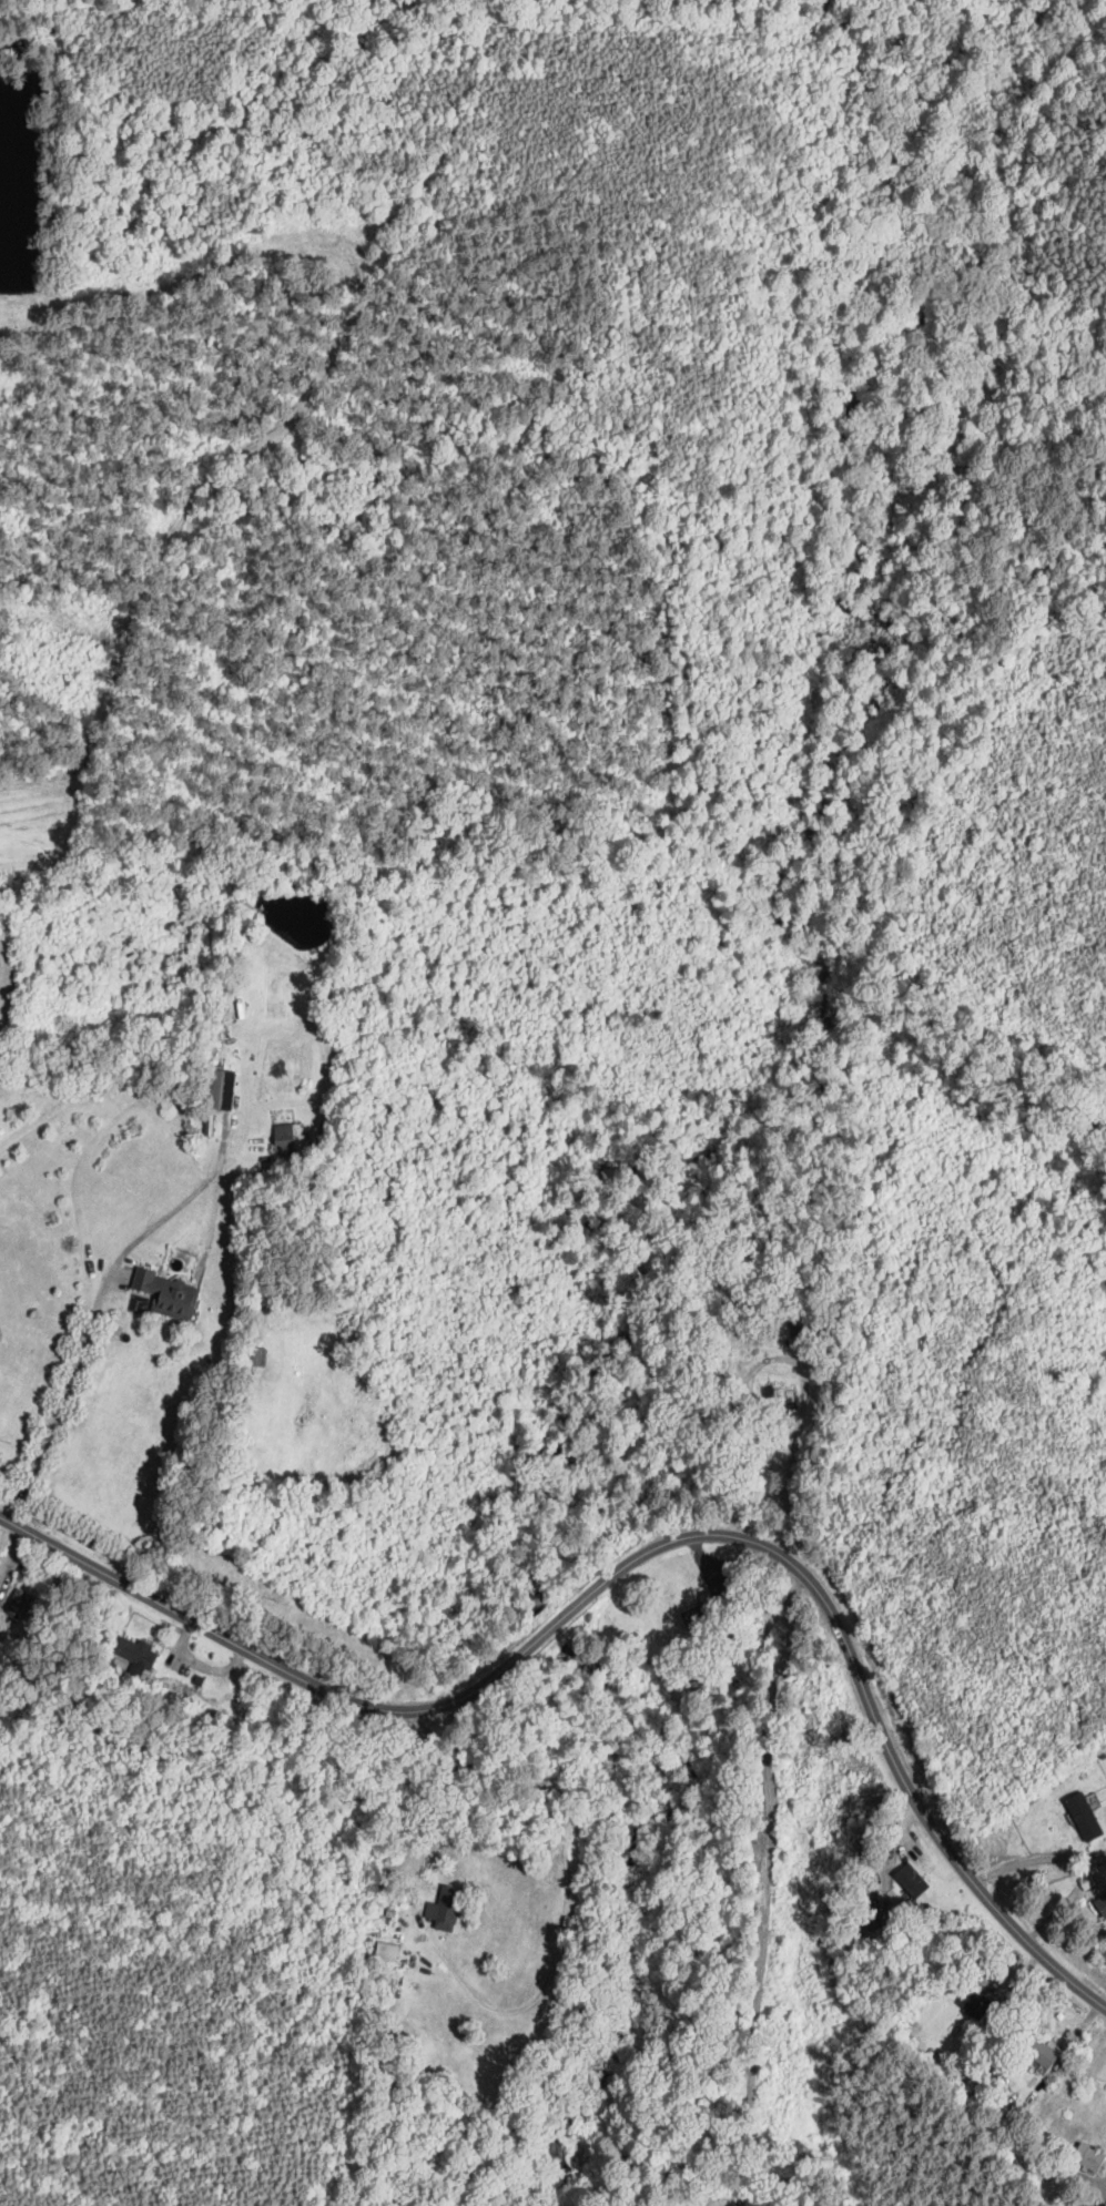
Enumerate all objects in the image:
road: (195, 492)
building: (221, 1090)
building: (288, 1139)
building: (168, 1294)
road: (100, 1318)
building: (796, 1329)
building: (257, 1358)
road: (750, 1383)
building: (782, 1394)
road: (704, 1559)
road: (630, 1562)
building: (26, 1604)
building: (706, 1613)
building: (134, 1653)
building: (1084, 1817)
road: (901, 1833)
road: (1037, 1859)
building: (911, 1881)
road: (768, 1882)
road: (568, 1890)
building: (1100, 1904)
building: (445, 1909)
road: (1053, 1918)
road: (1021, 1980)
building: (974, 2004)
road: (1082, 2031)
building: (1042, 2053)
building: (1088, 2157)

